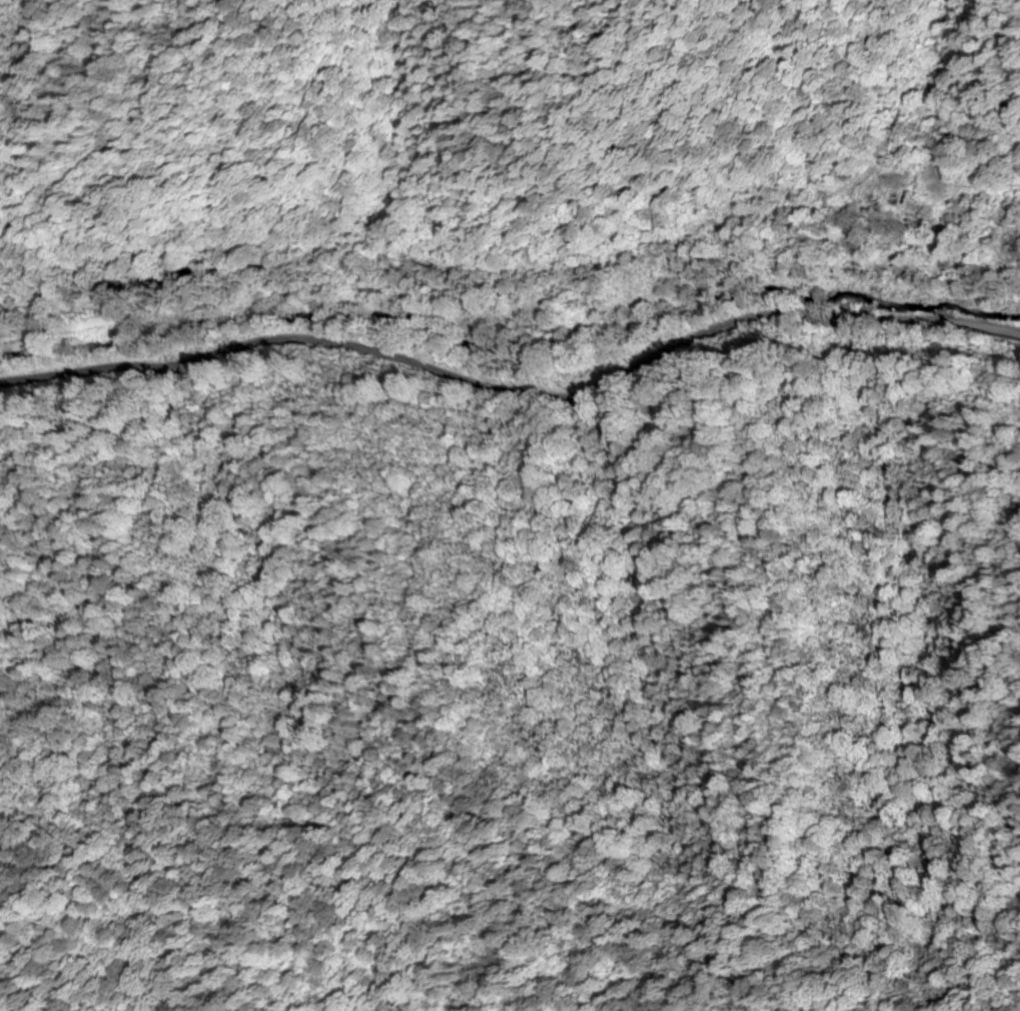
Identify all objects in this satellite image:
road: (514, 396)

